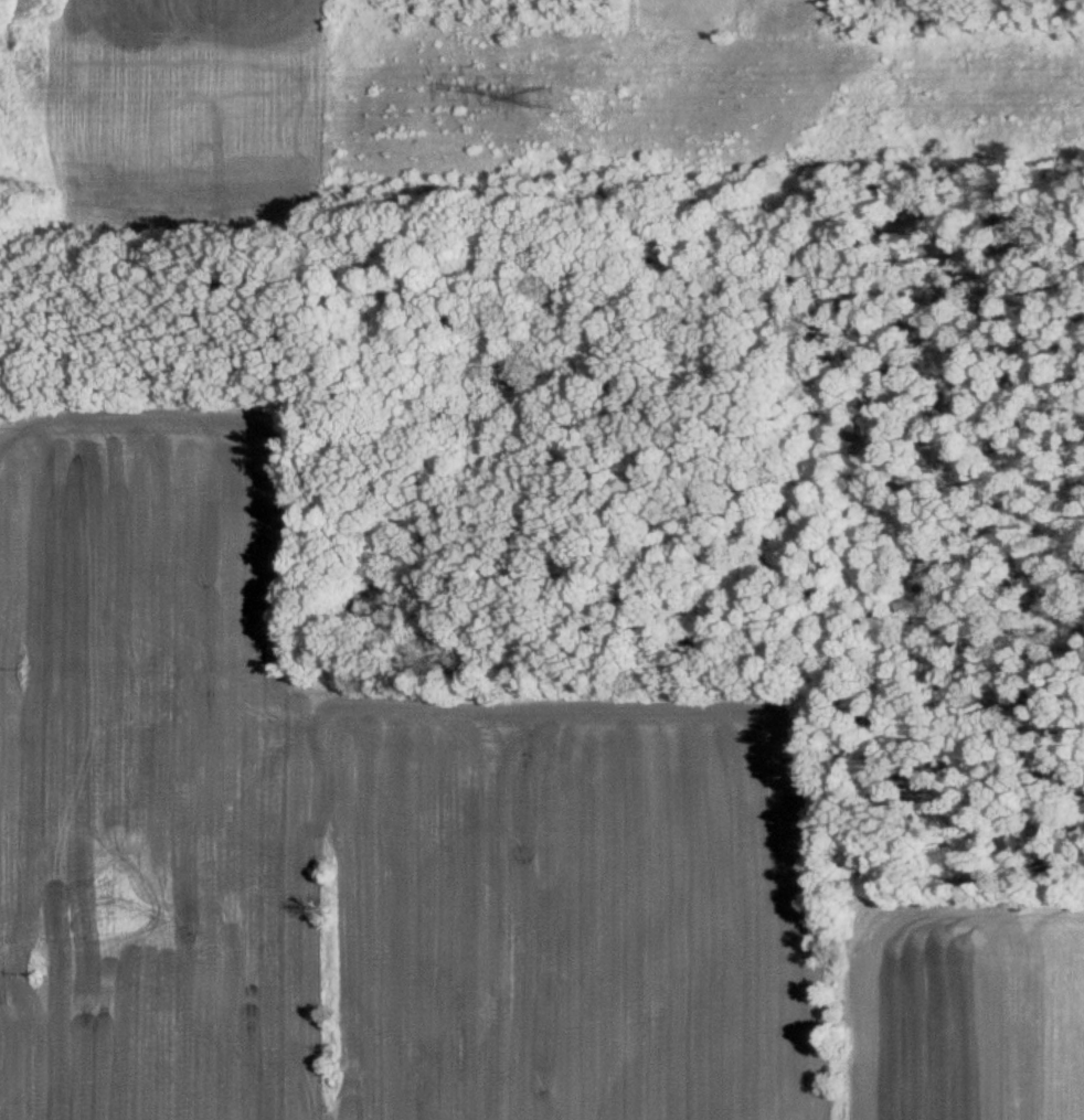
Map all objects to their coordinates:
power tower: (536, 95)
crop: (358, 839)
crop: (974, 1012)

